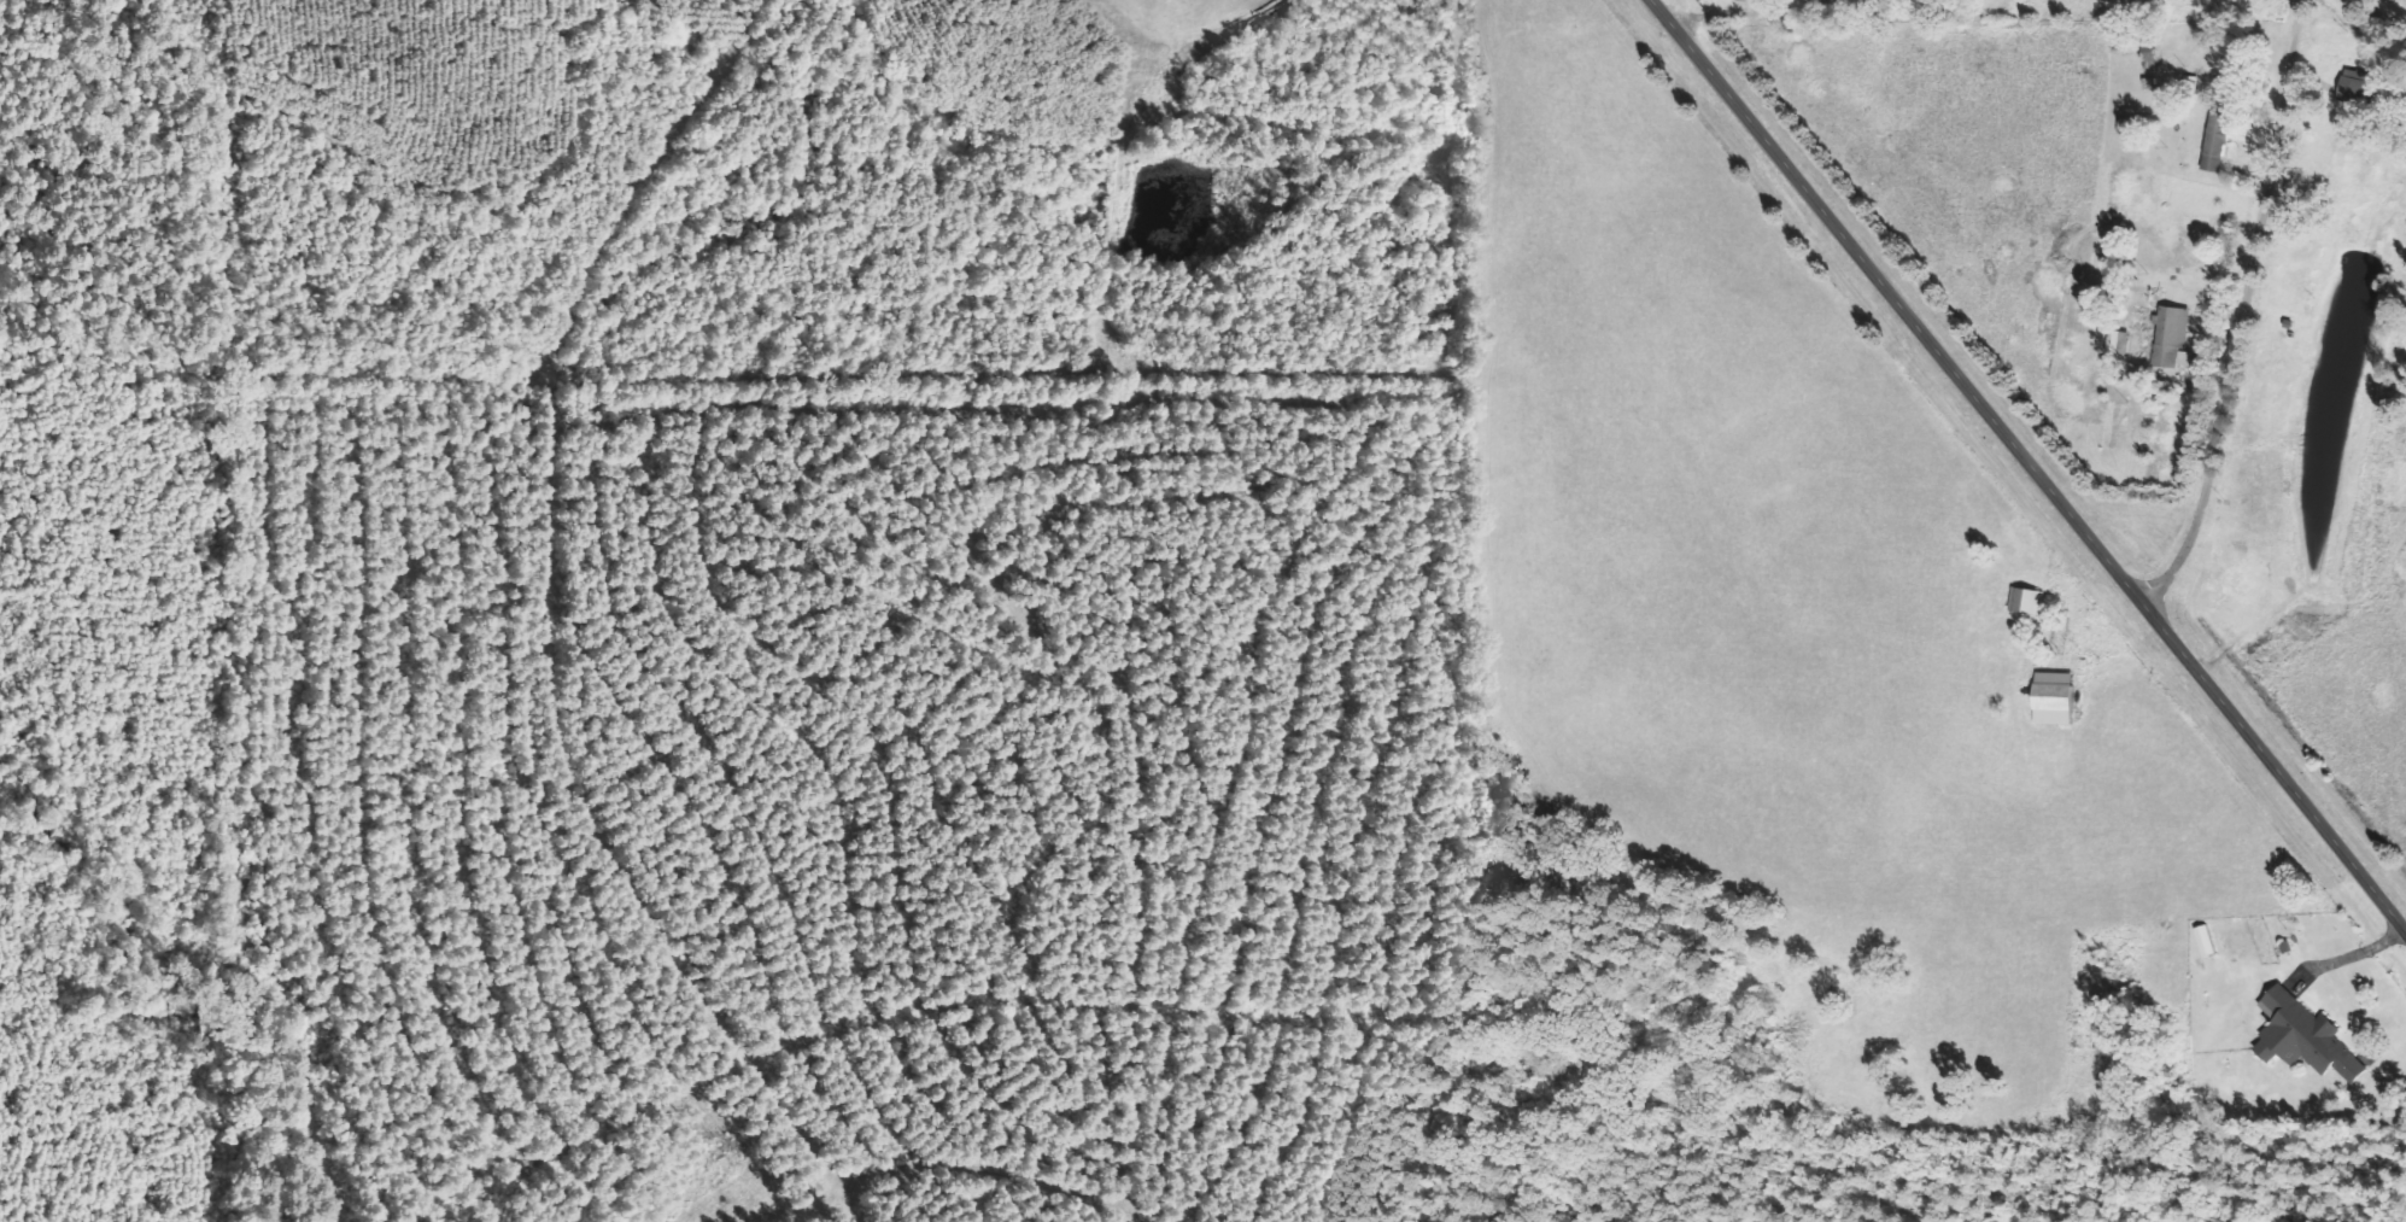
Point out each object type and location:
building: (2351, 90)
road: (2253, 315)
road: (2026, 463)
building: (2031, 601)
building: (2061, 698)
building: (2311, 1037)

